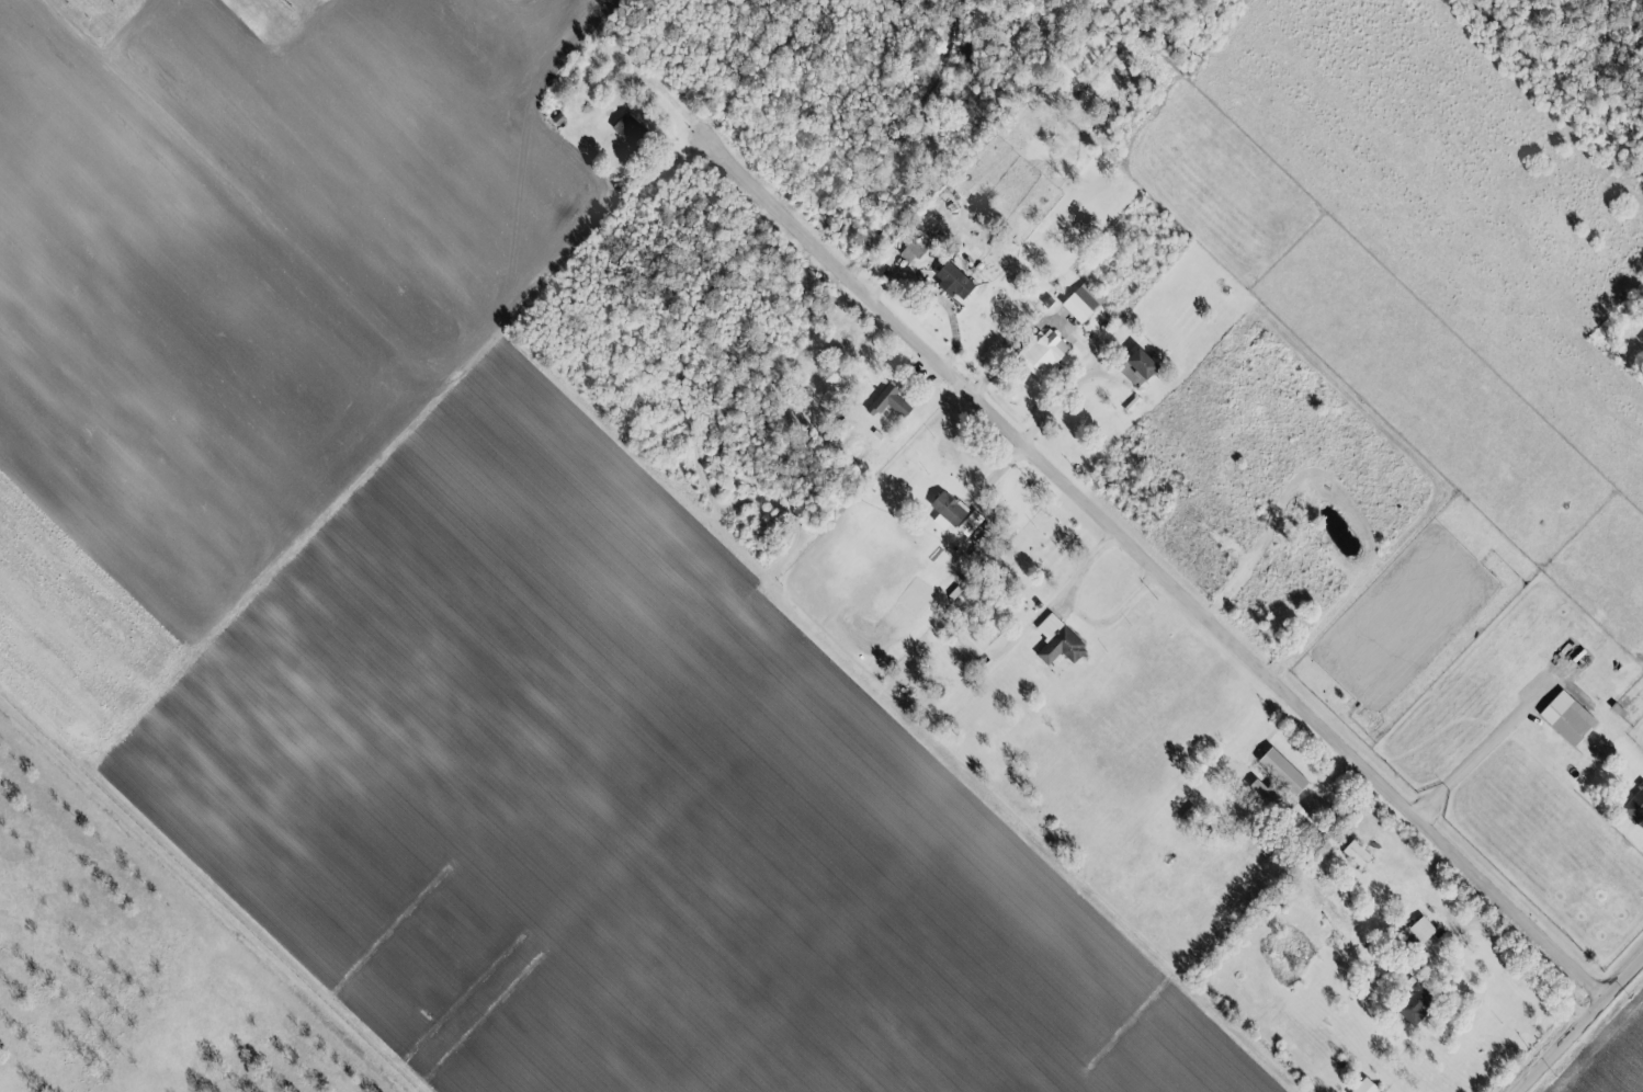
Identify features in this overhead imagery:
road: (660, 91)
building: (631, 129)
building: (910, 250)
building: (950, 281)
building: (1079, 303)
building: (1640, 341)
building: (1040, 353)
road: (1007, 354)
building: (1134, 367)
road: (1055, 401)
building: (886, 402)
building: (943, 511)
building: (966, 523)
road: (1149, 566)
road: (1058, 596)
road: (1112, 618)
building: (1055, 641)
building: (1564, 718)
road: (1480, 753)
building: (1279, 771)
building: (1256, 788)
building: (1633, 806)
building: (1353, 854)
building: (1418, 930)
road: (1507, 946)
building: (1413, 1005)
road: (1578, 1025)
building: (1362, 1087)

